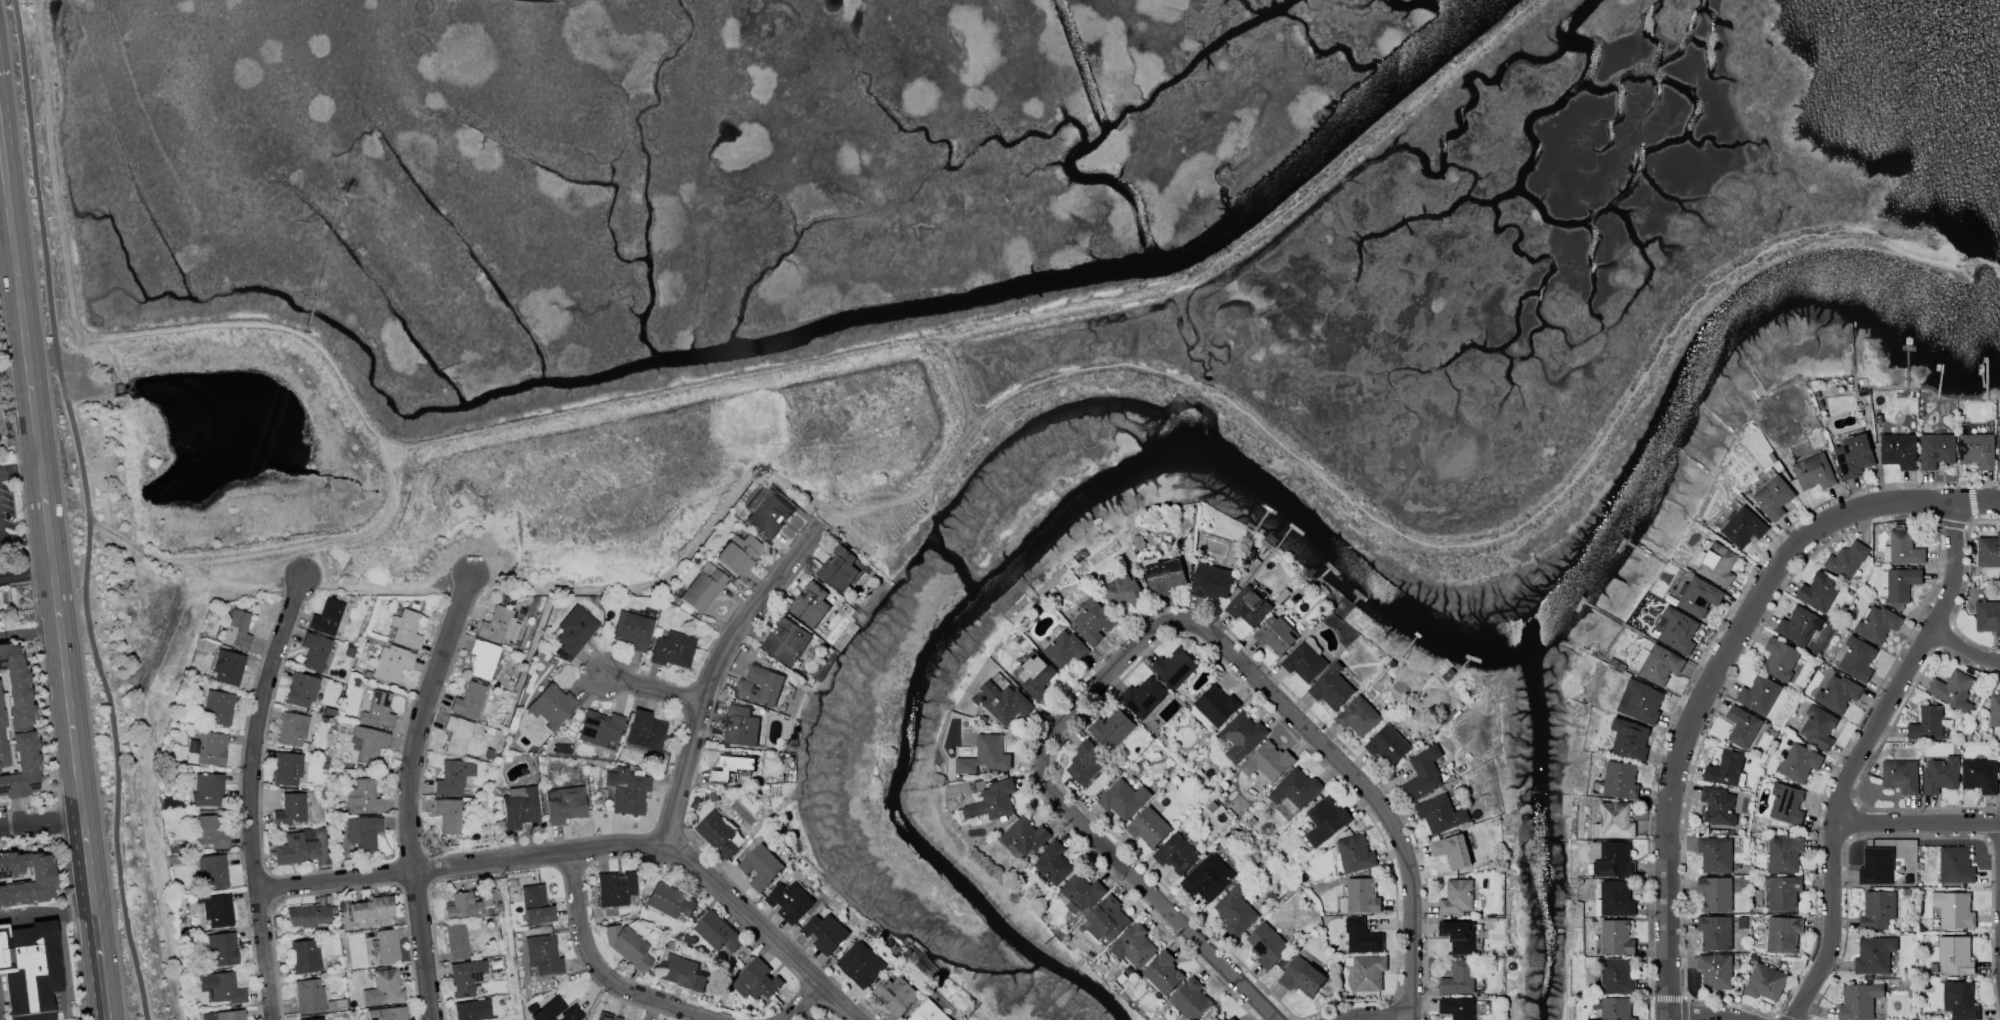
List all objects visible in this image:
road: (0, 63)
road: (0, 69)
road: (5, 193)
power tower: (339, 195)
road: (1266, 223)
road: (6, 241)
road: (7, 269)
road: (84, 340)
road: (72, 350)
road: (805, 365)
building: (1899, 449)
building: (1936, 450)
building: (1977, 450)
building: (1999, 452)
building: (1854, 455)
road: (19, 468)
building: (1814, 471)
road: (393, 481)
building: (1772, 495)
road: (89, 509)
building: (766, 511)
building: (1742, 527)
road: (1507, 533)
road: (20, 542)
building: (1902, 547)
building: (1989, 550)
building: (737, 553)
road: (247, 555)
building: (1846, 559)
road: (313, 560)
building: (1717, 564)
road: (25, 568)
building: (838, 569)
building: (1164, 576)
building: (1211, 581)
building: (1899, 583)
building: (702, 587)
road: (323, 588)
building: (1123, 591)
building: (1819, 591)
building: (1698, 596)
building: (810, 604)
building: (1248, 606)
building: (1987, 616)
building: (326, 617)
building: (1092, 620)
building: (495, 624)
building: (1877, 624)
building: (1799, 625)
building: (405, 628)
building: (236, 629)
road: (59, 630)
building: (574, 630)
building: (632, 630)
building: (1677, 630)
building: (1276, 634)
building: (786, 641)
road: (1147, 641)
building: (1064, 648)
building: (671, 650)
building: (314, 651)
road: (1964, 654)
building: (1779, 657)
building: (1856, 657)
building: (483, 659)
building: (1304, 661)
building: (391, 663)
building: (1658, 663)
building: (227, 667)
building: (1174, 667)
road: (711, 671)
road: (1719, 672)
building: (1034, 676)
power tower: (172, 686)
building: (771, 686)
road: (652, 688)
building: (1331, 688)
building: (1953, 689)
building: (300, 690)
building: (1838, 693)
building: (1758, 694)
building: (1143, 696)
building: (467, 700)
building: (1640, 701)
building: (1004, 702)
building: (1216, 705)
building: (551, 706)
building: (217, 707)
building: (1994, 709)
building: (377, 711)
building: (1359, 716)
building: (1927, 723)
building: (742, 725)
building: (1743, 726)
building: (1818, 726)
building: (599, 728)
building: (1111, 728)
building: (15, 729)
building: (292, 729)
building: (644, 731)
building: (457, 735)
building: (1241, 735)
building: (1629, 738)
building: (368, 743)
building: (1387, 744)
building: (208, 748)
building: (985, 755)
road: (1864, 758)
building: (1268, 761)
building: (1086, 762)
building: (1799, 762)
building: (733, 767)
building: (286, 769)
building: (1726, 769)
building: (1422, 773)
building: (1979, 774)
building: (1900, 775)
building: (1940, 775)
building: (449, 779)
building: (1619, 780)
building: (206, 790)
building: (1295, 790)
building: (627, 791)
road: (409, 792)
road: (254, 794)
building: (362, 798)
building: (1123, 799)
building: (992, 800)
building: (1784, 803)
building: (564, 804)
building: (1718, 805)
building: (518, 807)
building: (290, 809)
building: (1440, 813)
building: (447, 814)
building: (1326, 820)
building: (1613, 820)
road: (41, 821)
building: (1148, 827)
road: (1921, 828)
building: (363, 832)
building: (207, 833)
building: (720, 834)
building: (1024, 837)
road: (586, 849)
building: (294, 850)
building: (1452, 851)
building: (1355, 853)
building: (1715, 853)
building: (1784, 853)
building: (1176, 854)
building: (1611, 858)
building: (1053, 862)
building: (1955, 864)
building: (760, 866)
building: (1876, 866)
building: (211, 872)
building: (1207, 877)
building: (25, 878)
building: (614, 888)
building: (1081, 892)
building: (1715, 892)
building: (1783, 892)
building: (1362, 895)
building: (1456, 897)
building: (487, 898)
building: (1614, 899)
building: (668, 901)
building: (790, 902)
building: (532, 903)
building: (462, 906)
building: (1877, 909)
building: (1954, 909)
building: (370, 910)
building: (1235, 910)
building: (214, 912)
building: (307, 915)
building: (1107, 919)
building: (717, 931)
building: (824, 932)
building: (1715, 932)
building: (1783, 933)
building: (1458, 935)
building: (1361, 936)
building: (1616, 937)
building: (456, 941)
building: (1266, 944)
building: (1134, 945)
building: (627, 946)
building: (385, 947)
building: (221, 949)
building: (1874, 954)
building: (542, 955)
building: (1955, 955)
building: (304, 956)
building: (860, 964)
building: (29, 970)
building: (1715, 970)
road: (599, 971)
building: (1366, 971)
building: (1163, 972)
building: (682, 973)
building: (1616, 976)
building: (465, 977)
building: (1302, 977)
building: (1459, 978)
building: (756, 979)
building: (1764, 981)
building: (222, 988)
building: (383, 988)
building: (308, 995)
building: (895, 995)
building: (1191, 999)
building: (1858, 1001)
building: (1959, 1001)
road: (798, 1004)
building: (1457, 1007)
building: (1615, 1008)
building: (473, 1010)
building: (555, 1011)
building: (928, 1012)
building: (387, 1014)
road: (1368, 1014)
road: (1706, 1014)
building: (231, 1015)
building: (603, 1016)
building: (315, 1018)
building: (616, 1018)
building: (1230, 1018)

